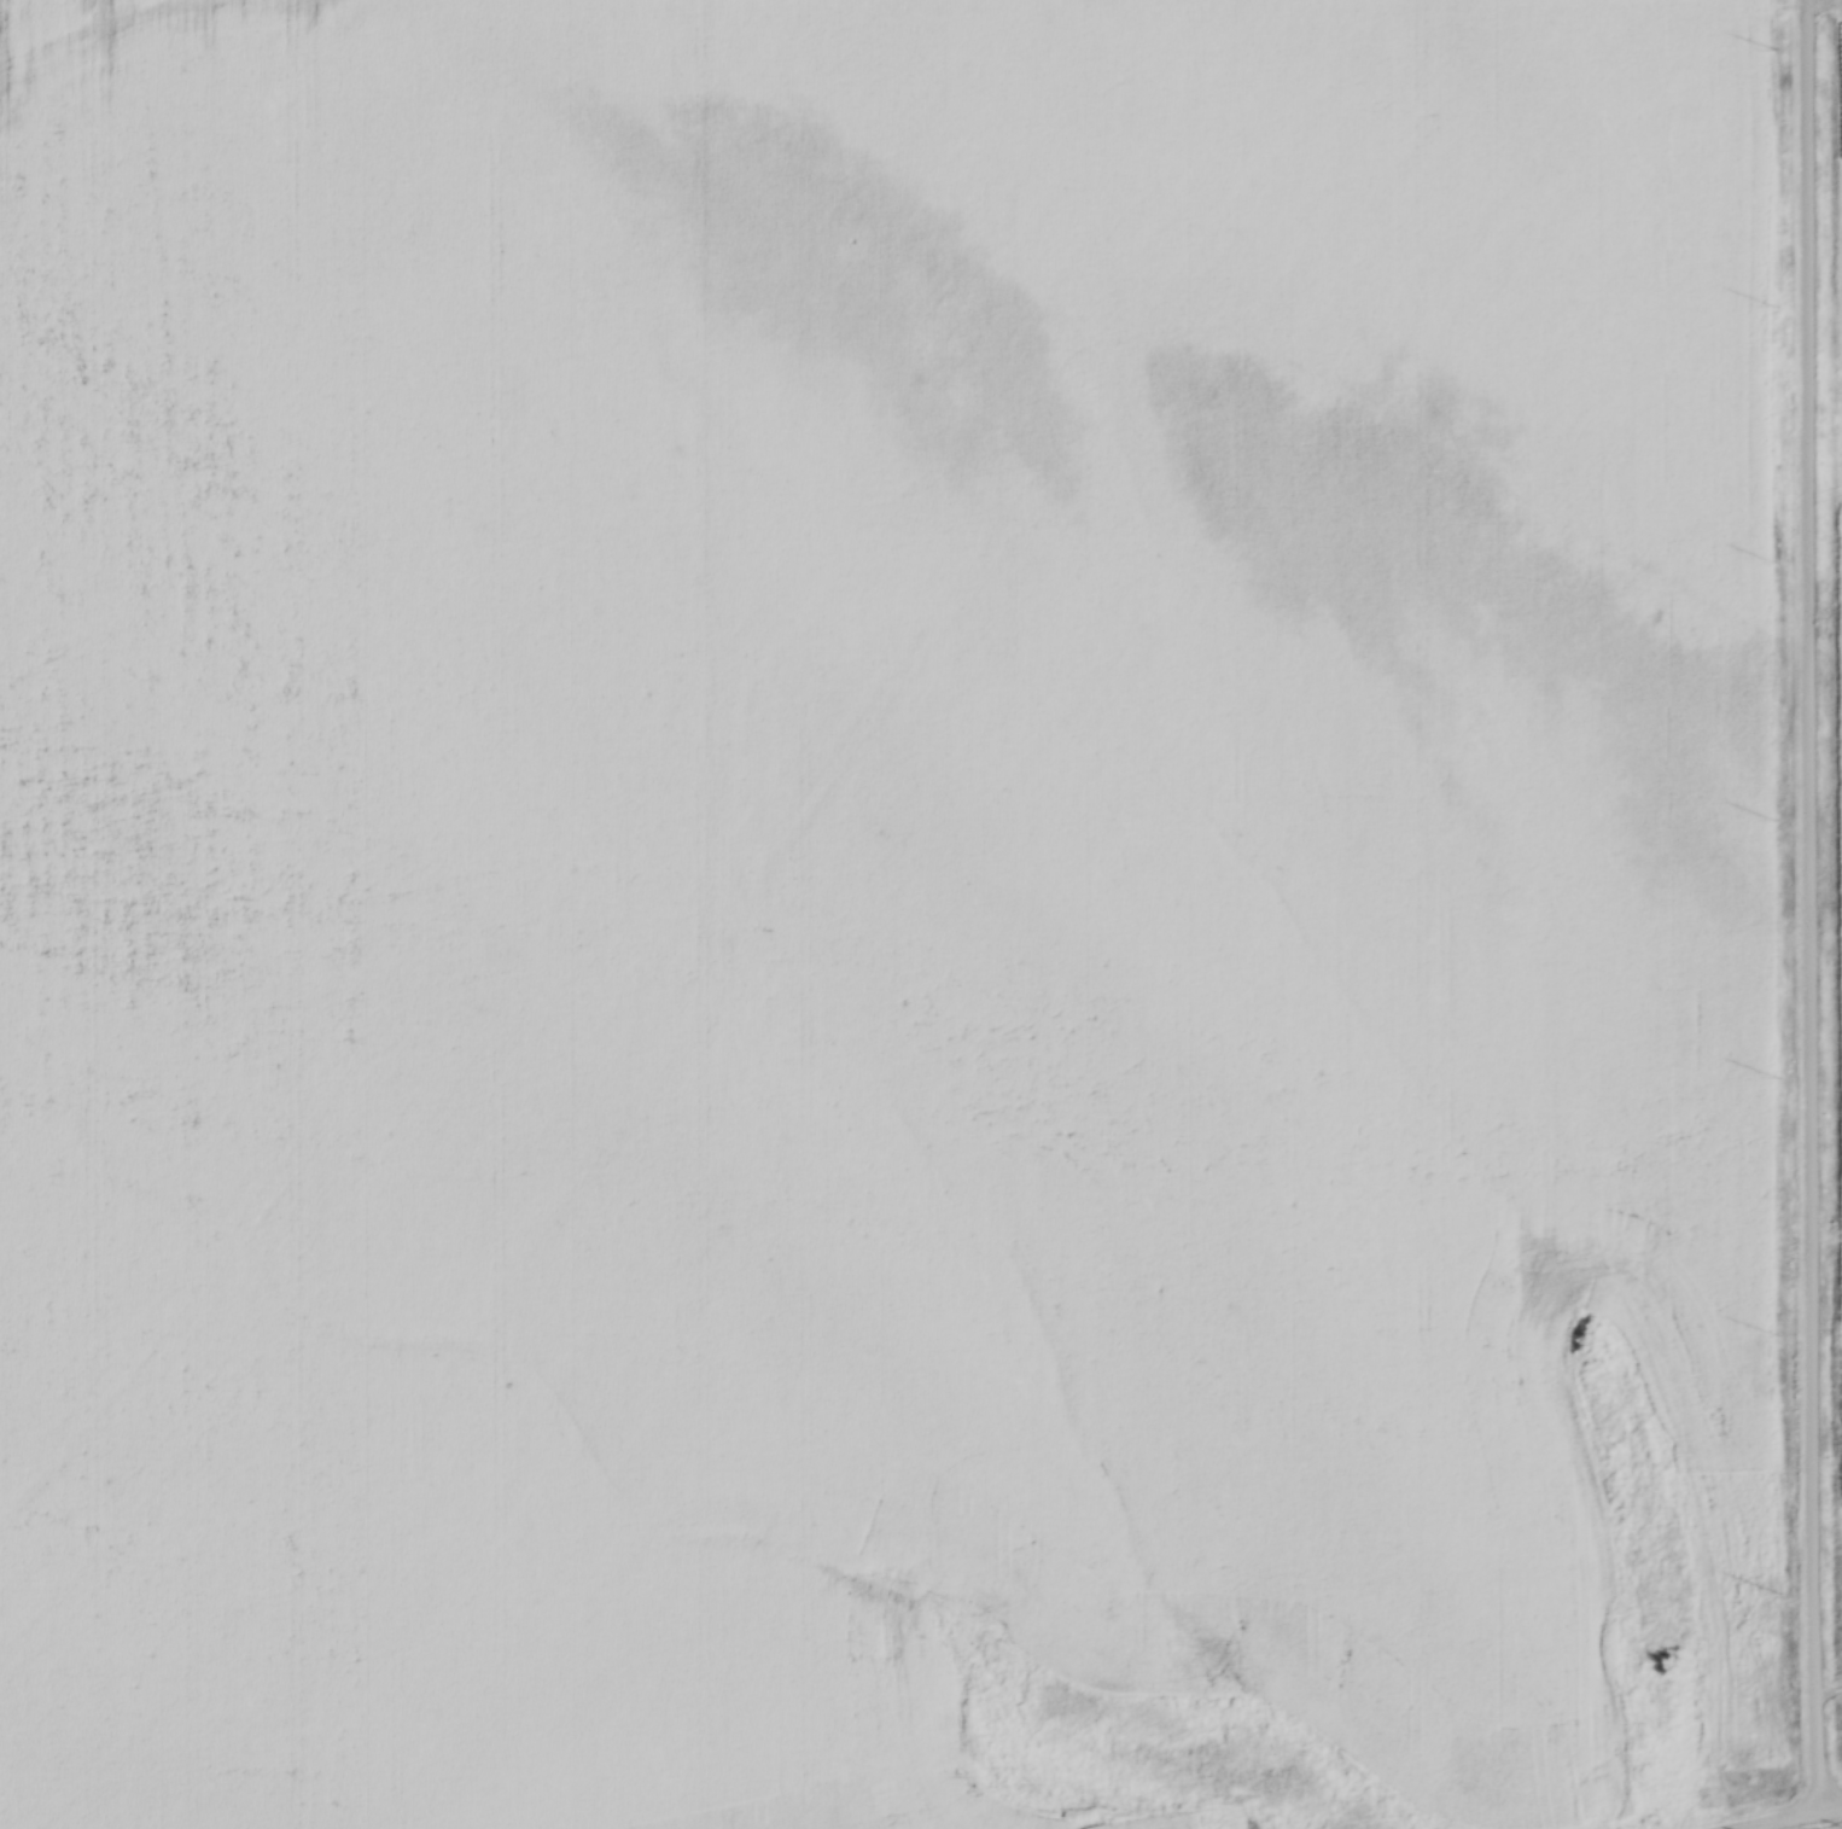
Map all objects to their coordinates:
road: (1818, 904)
road: (1790, 1817)

